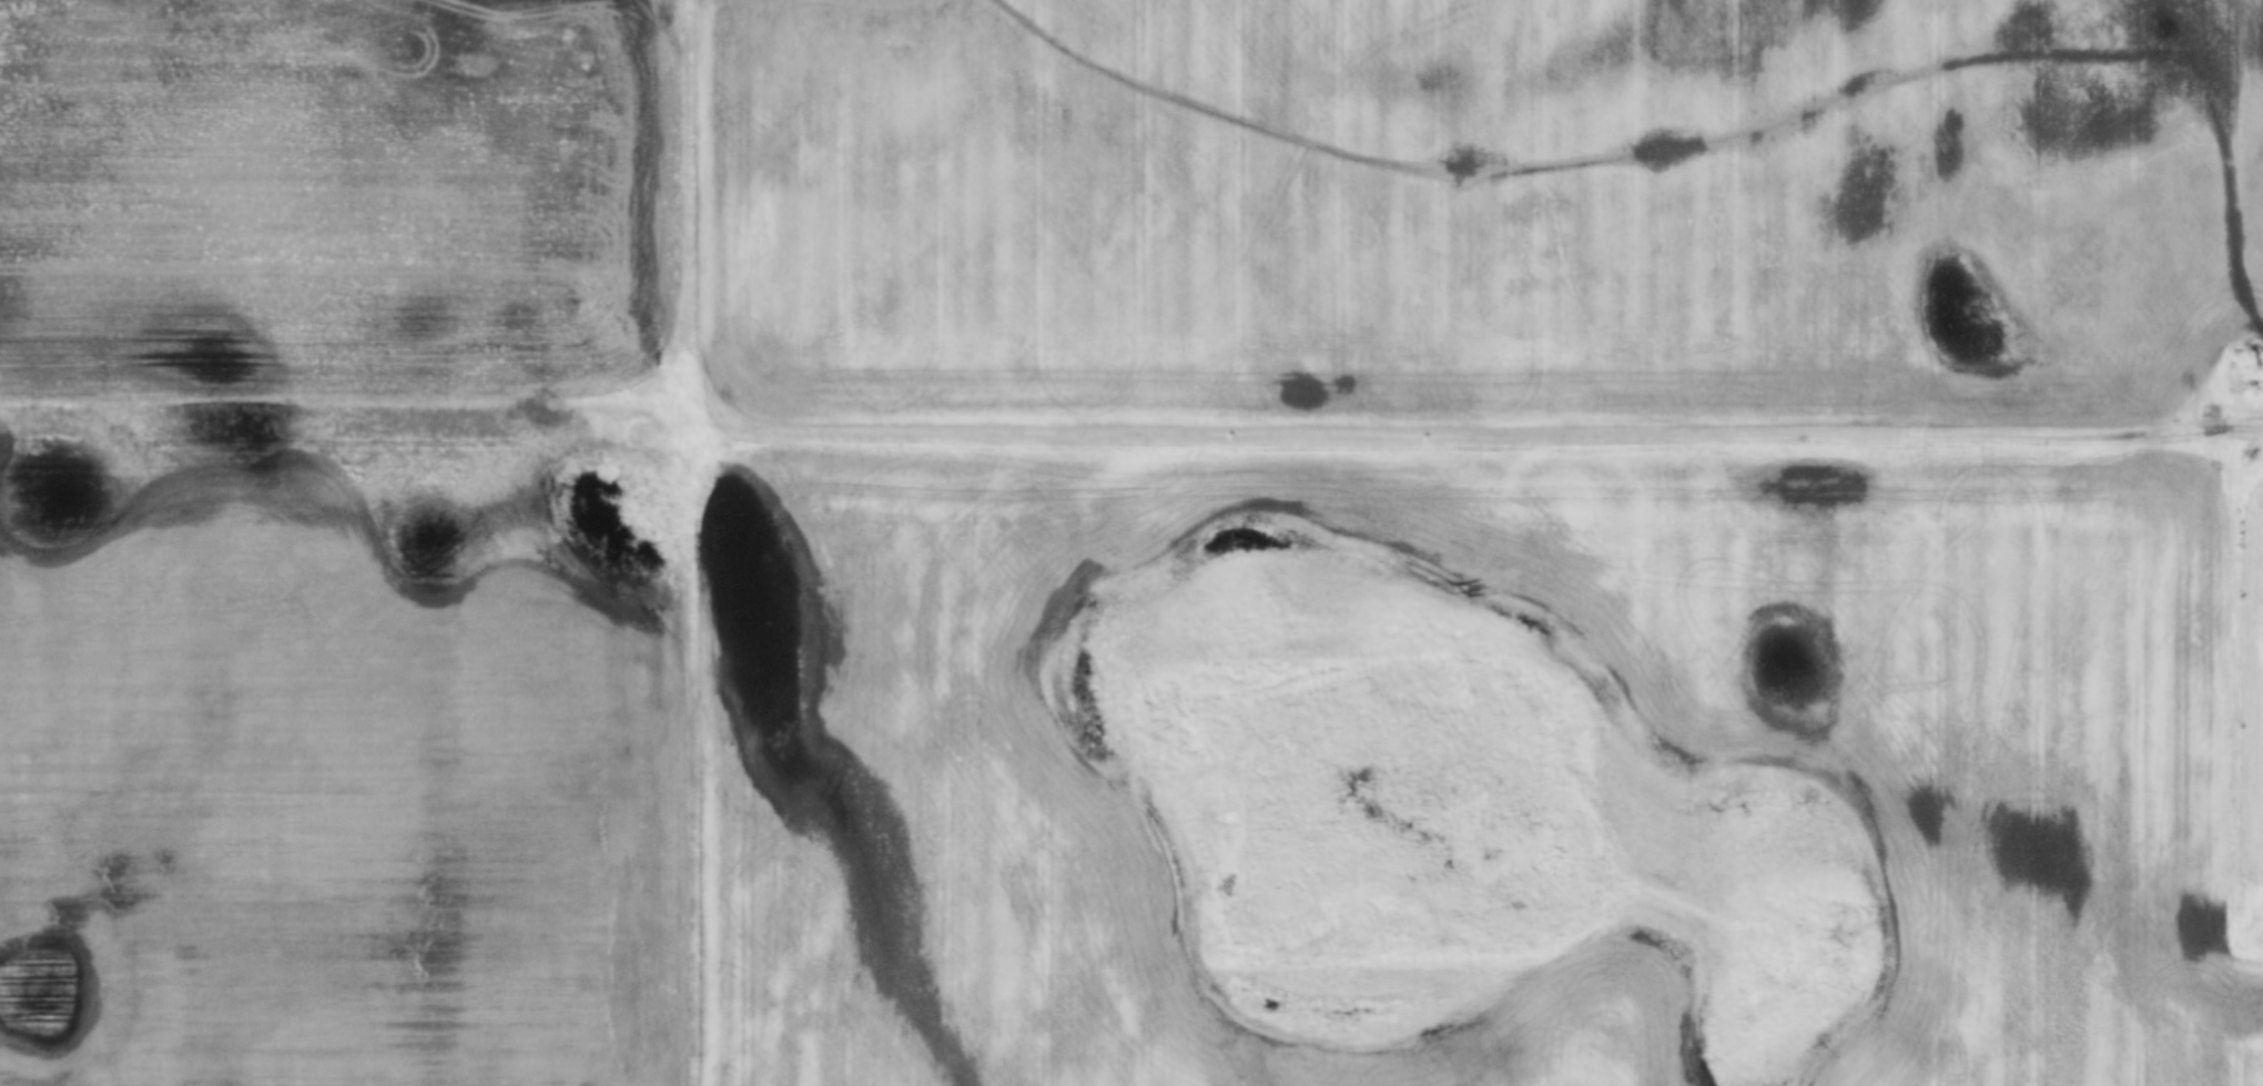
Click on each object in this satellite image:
road: (1488, 443)

